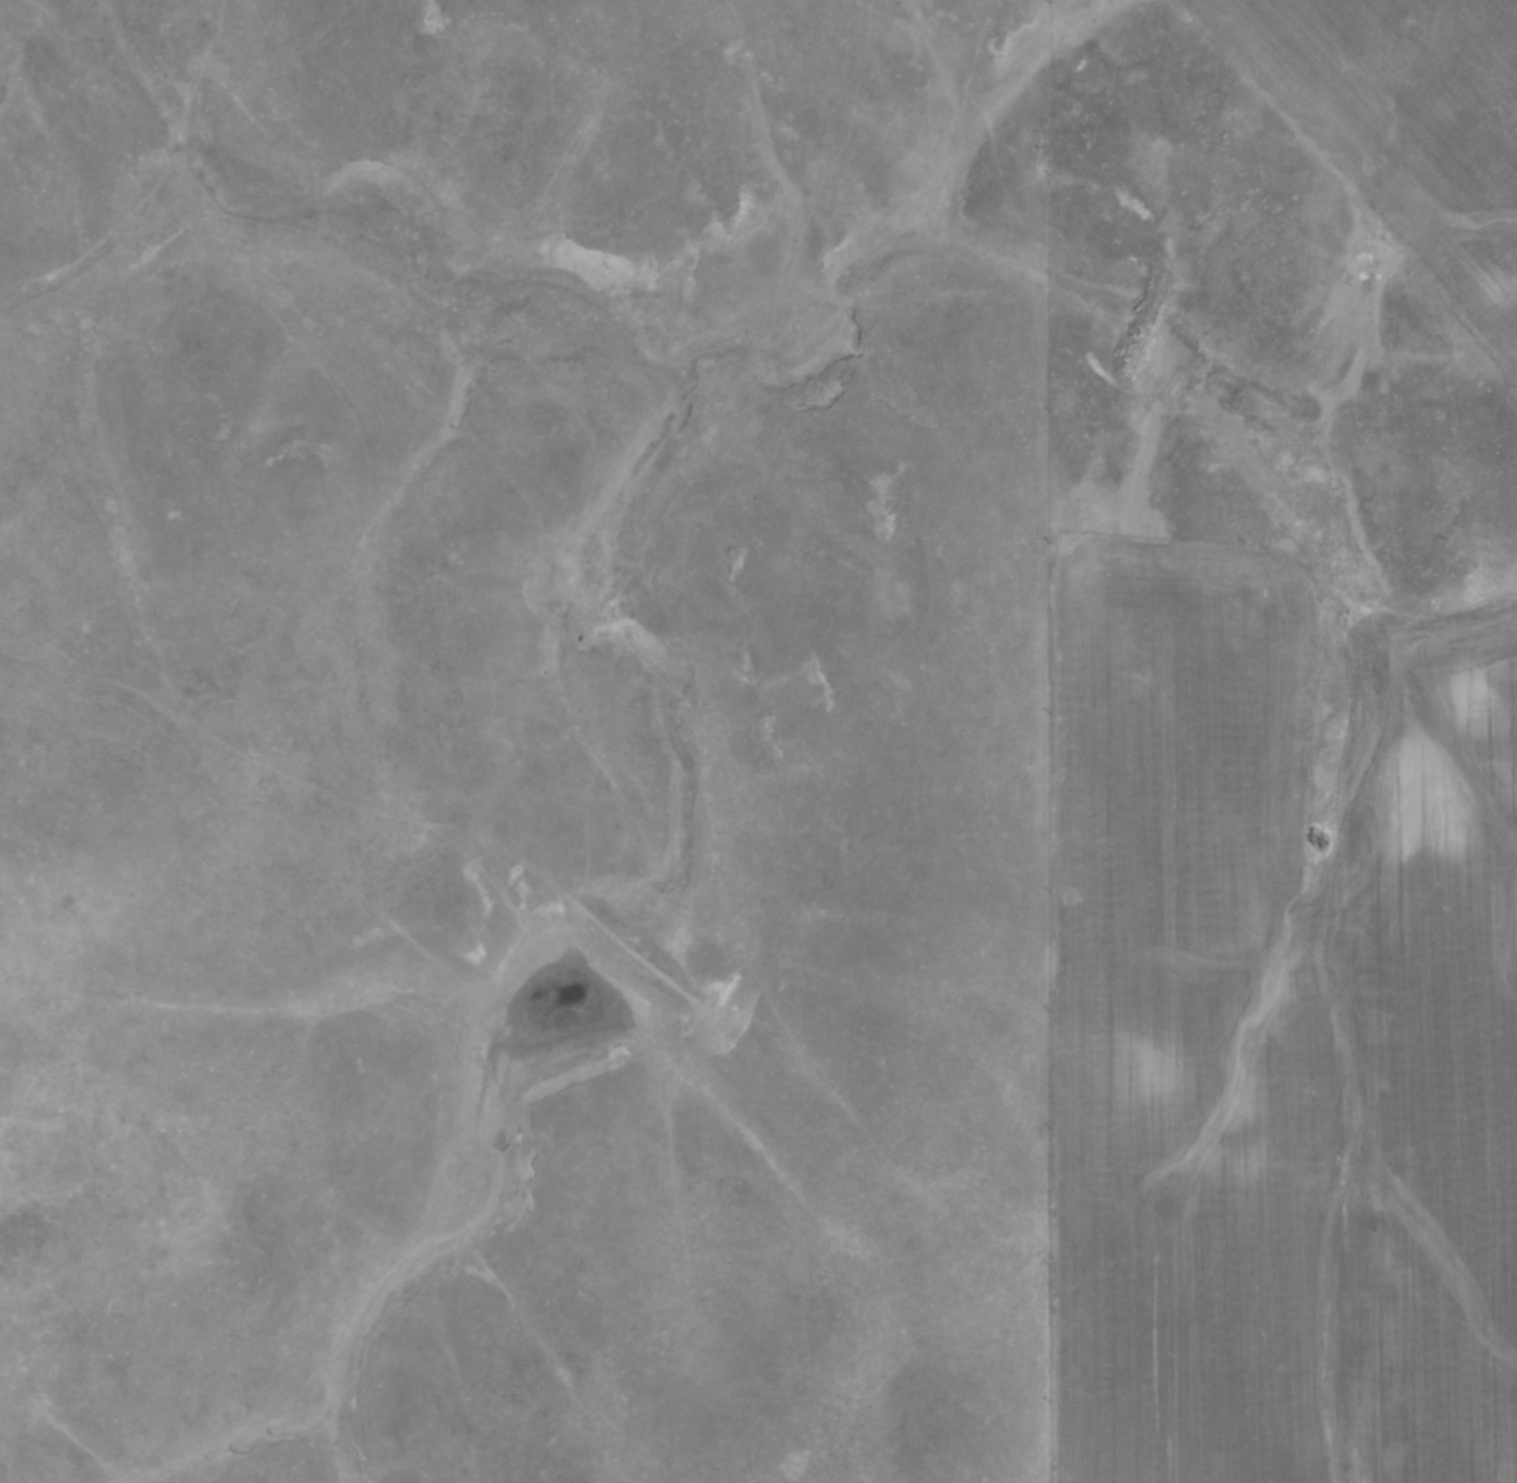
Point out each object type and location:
crop: (1398, 128)
crop: (1279, 1036)

